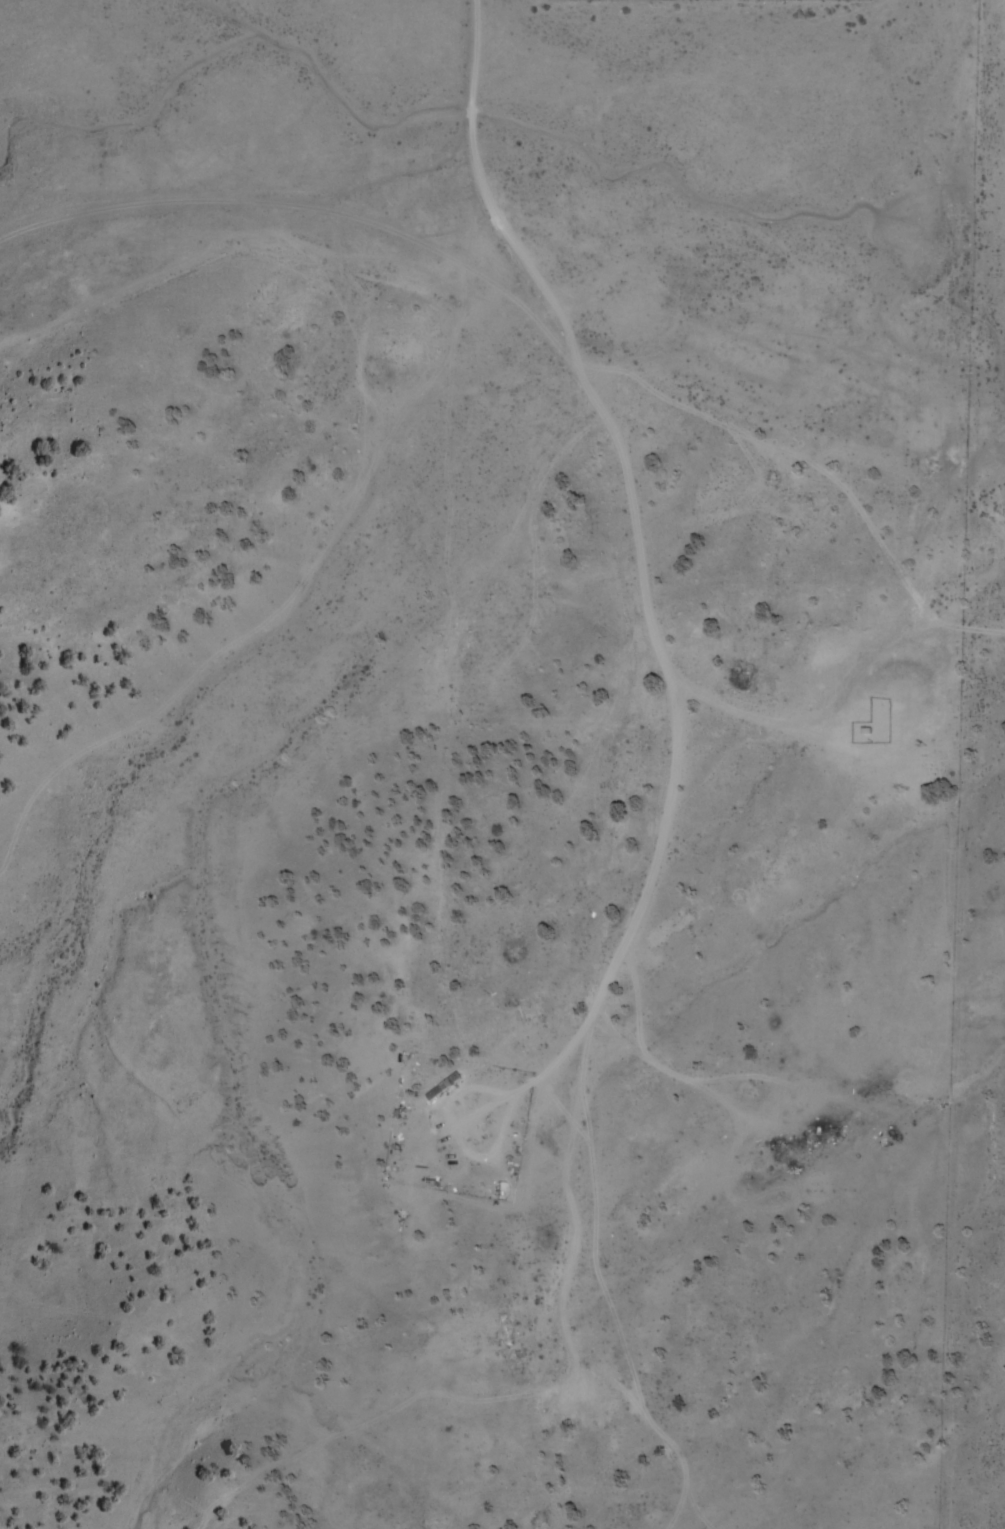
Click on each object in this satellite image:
road: (641, 761)

